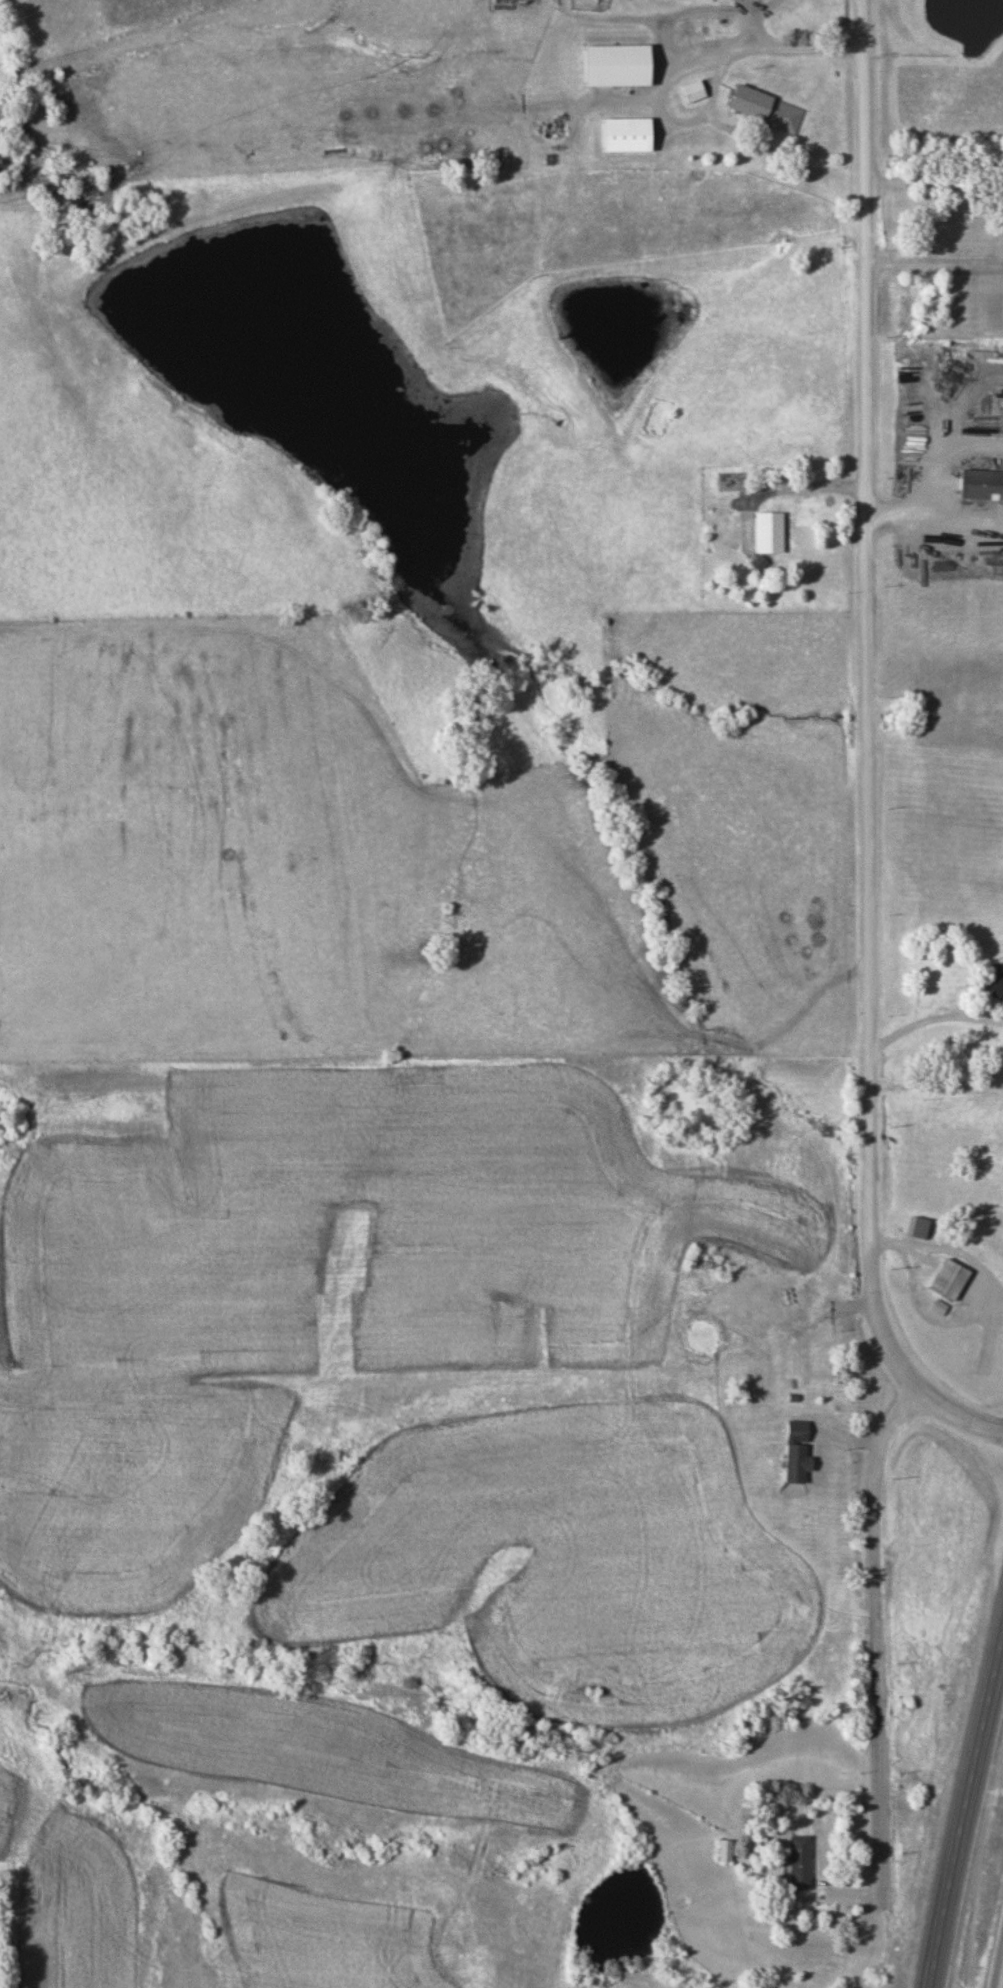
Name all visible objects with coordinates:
road: (795, 52)
building: (617, 67)
building: (694, 92)
road: (661, 96)
building: (769, 111)
building: (627, 135)
road: (934, 265)
building: (732, 482)
road: (928, 482)
building: (982, 487)
road: (810, 489)
road: (892, 522)
building: (773, 532)
road: (866, 749)
building: (998, 982)
road: (925, 1023)
building: (920, 1228)
building: (710, 1261)
building: (950, 1280)
building: (793, 1311)
road: (795, 1316)
building: (756, 1335)
building: (793, 1382)
road: (876, 1669)
road: (964, 1813)
building: (799, 1863)
road: (998, 1966)

